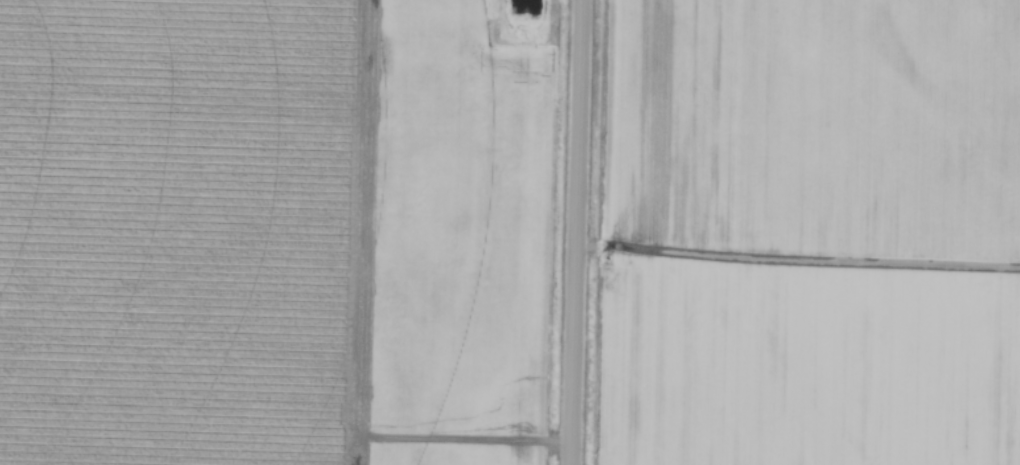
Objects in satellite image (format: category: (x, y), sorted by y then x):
road: (567, 232)

